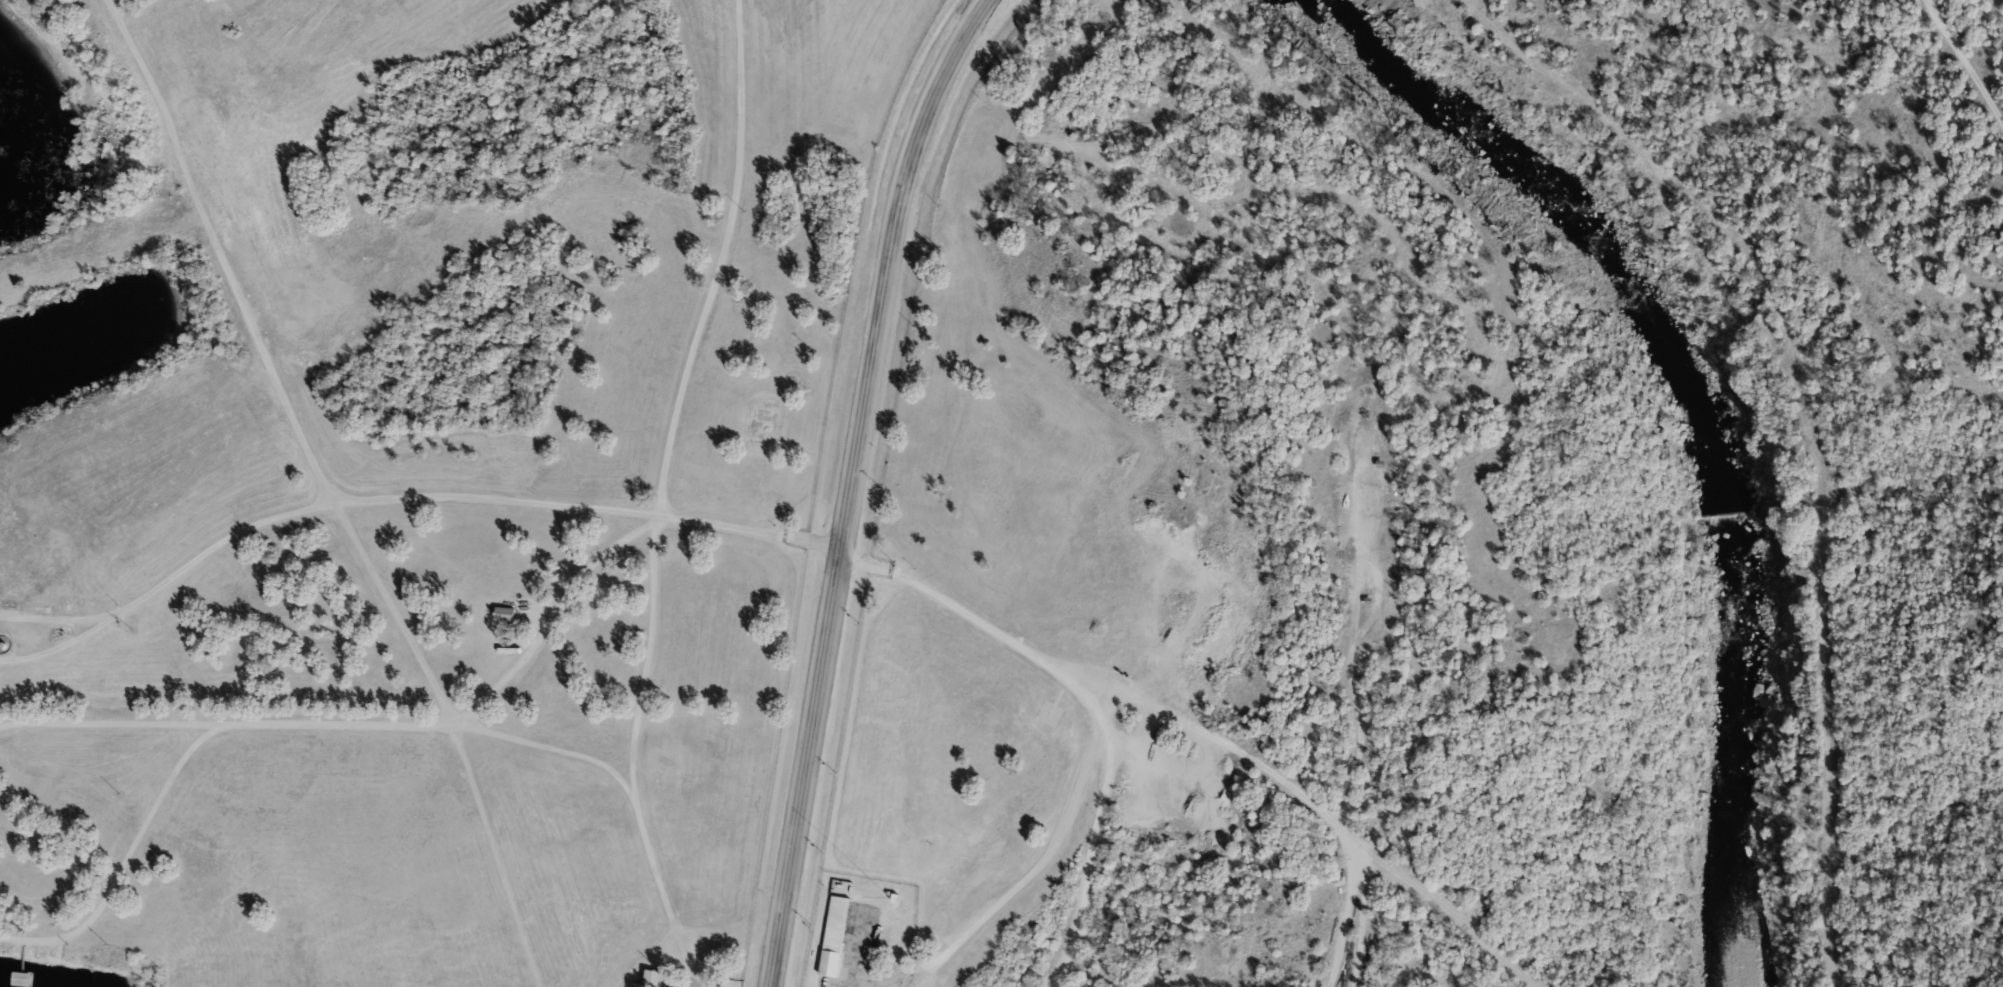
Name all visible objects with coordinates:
road: (1962, 64)
road: (1809, 425)
road: (852, 485)
road: (326, 491)
road: (495, 499)
road: (654, 518)
road: (214, 545)
building: (506, 614)
road: (55, 619)
road: (59, 647)
road: (1017, 649)
road: (644, 657)
road: (549, 746)
road: (177, 766)
road: (1024, 879)
road: (656, 890)
building: (834, 935)
building: (653, 977)
building: (18, 979)

